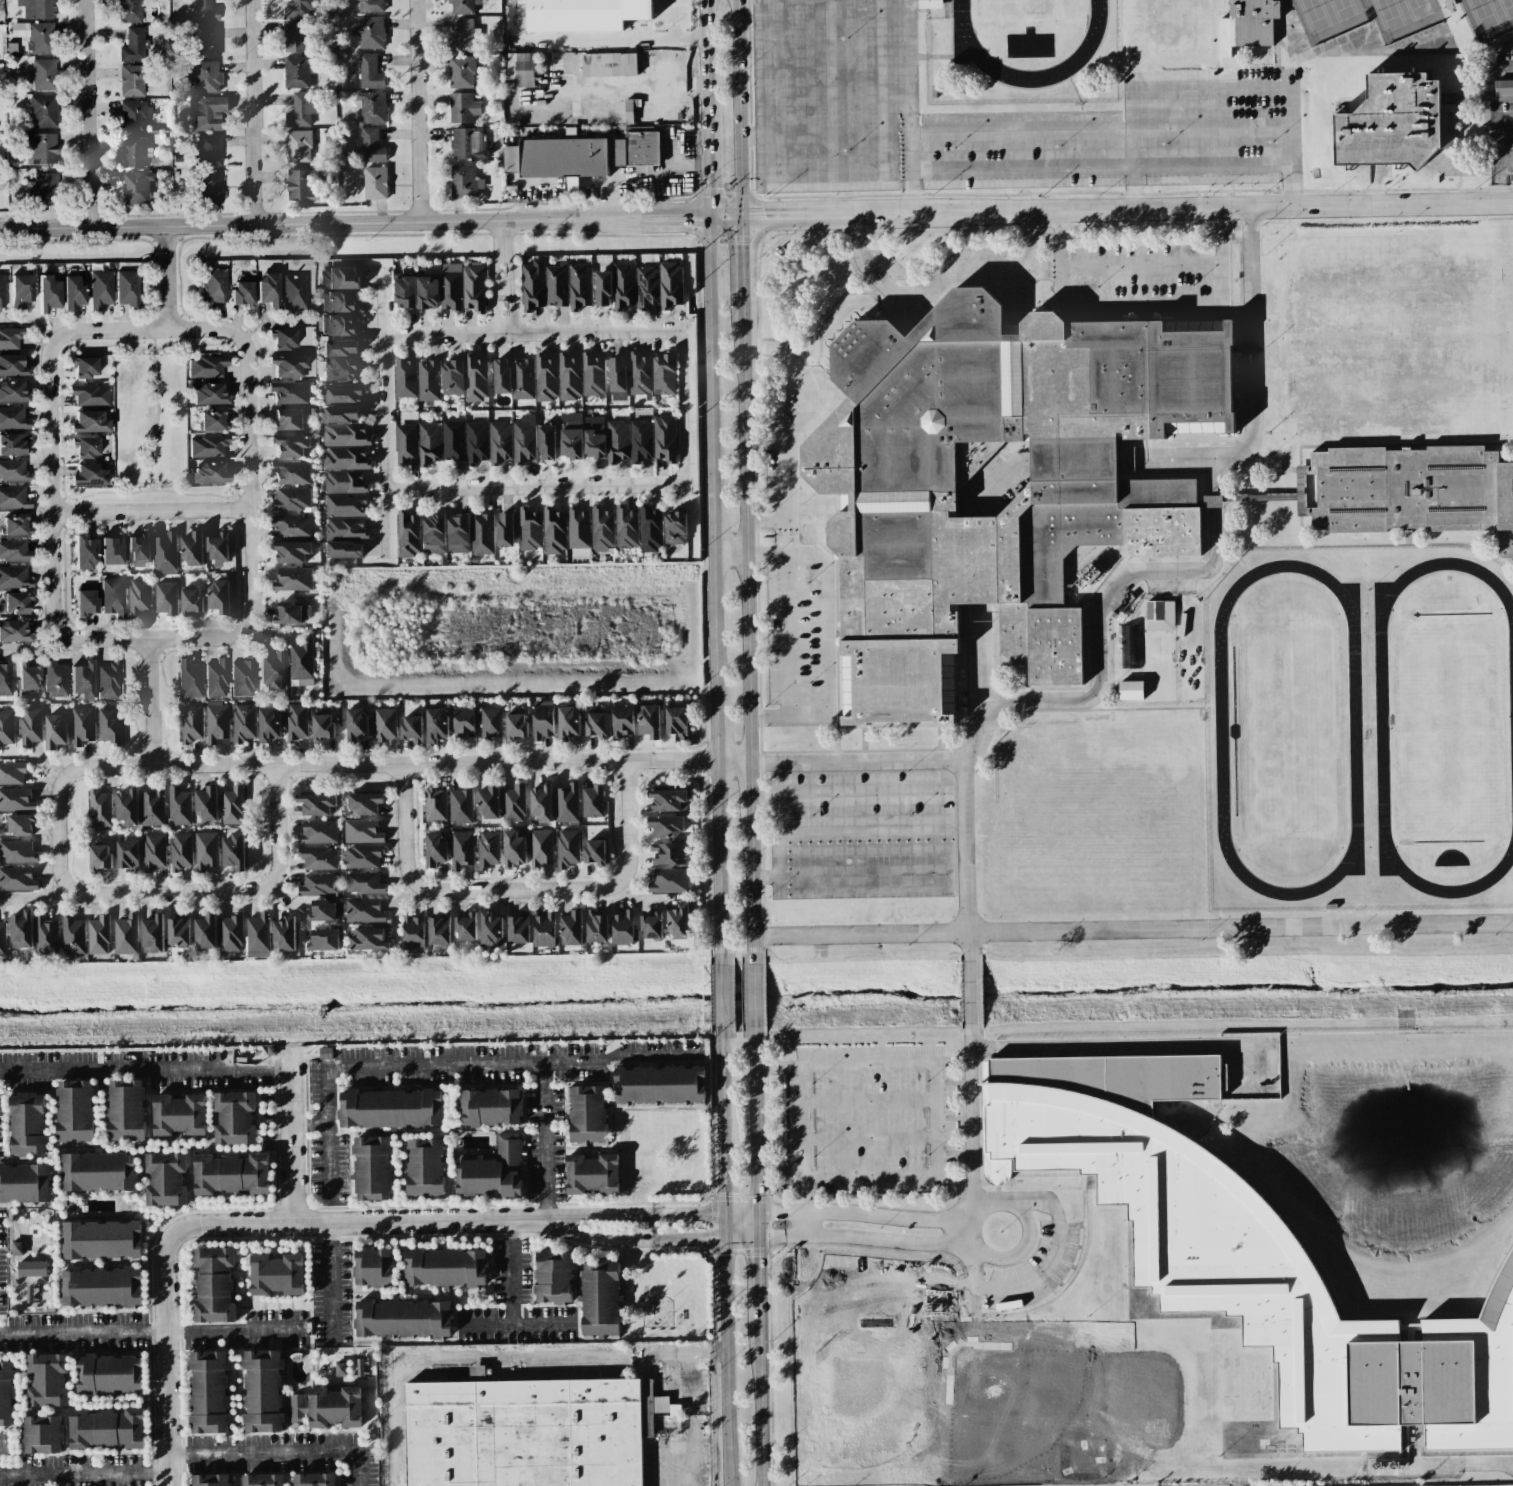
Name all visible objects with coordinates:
building: (929, 4)
building: (370, 6)
building: (463, 6)
park: (1506, 7)
building: (298, 8)
park: (1341, 8)
park: (1417, 8)
building: (38, 9)
building: (130, 11)
building: (205, 11)
park: (1028, 11)
park: (1389, 13)
park: (1482, 13)
building: (584, 14)
park: (1313, 14)
road: (671, 19)
building: (1247, 24)
building: (369, 31)
building: (36, 36)
building: (462, 36)
building: (295, 37)
road: (624, 39)
building: (207, 41)
track: (964, 42)
building: (134, 45)
stadium: (1020, 51)
building: (609, 64)
road: (707, 64)
building: (522, 68)
building: (298, 71)
building: (370, 72)
building: (461, 72)
building: (44, 74)
building: (204, 75)
building: (134, 79)
road: (658, 89)
building: (1503, 90)
building: (372, 107)
building: (462, 107)
road: (733, 107)
building: (301, 110)
building: (42, 111)
road: (420, 111)
building: (206, 112)
road: (256, 112)
road: (89, 113)
building: (134, 115)
building: (1392, 120)
road: (1173, 128)
road: (1056, 130)
road: (878, 132)
road: (750, 135)
road: (1500, 137)
building: (467, 143)
building: (370, 145)
building: (298, 146)
road: (1295, 146)
building: (41, 148)
building: (635, 149)
building: (134, 151)
building: (208, 151)
building: (558, 159)
road: (1508, 161)
road: (944, 171)
road: (709, 172)
building: (464, 182)
building: (374, 183)
road: (1503, 183)
building: (304, 184)
building: (210, 186)
building: (137, 187)
building: (41, 190)
road: (756, 215)
traffic signals: (710, 216)
traffic signals: (734, 216)
road: (1061, 237)
road: (1029, 238)
road: (736, 258)
road: (1027, 265)
road: (168, 277)
building: (339, 278)
road: (497, 278)
road: (511, 278)
building: (533, 285)
building: (557, 285)
building: (670, 285)
building: (215, 286)
building: (624, 286)
building: (451, 287)
building: (580, 287)
building: (647, 287)
building: (127, 288)
building: (603, 288)
building: (21, 289)
building: (101, 289)
building: (269, 289)
building: (2, 291)
building: (73, 292)
building: (405, 292)
building: (48, 293)
building: (242, 293)
building: (294, 293)
building: (427, 293)
building: (339, 301)
building: (339, 325)
road: (158, 330)
road: (533, 334)
road: (1251, 337)
building: (10, 338)
building: (284, 339)
road: (712, 343)
building: (340, 348)
building: (12, 365)
building: (289, 366)
building: (85, 367)
building: (207, 367)
building: (338, 370)
building: (639, 373)
building: (664, 373)
building: (617, 374)
building: (593, 375)
building: (501, 376)
building: (452, 377)
building: (569, 377)
building: (405, 378)
building: (475, 378)
building: (545, 378)
building: (522, 379)
building: (428, 380)
building: (12, 392)
building: (290, 392)
building: (209, 393)
building: (341, 393)
building: (90, 395)
road: (387, 407)
road: (685, 407)
building: (341, 414)
building: (13, 418)
building: (212, 419)
building: (287, 419)
building: (90, 422)
building: (345, 435)
building: (571, 435)
building: (594, 437)
building: (524, 438)
building: (665, 438)
building: (453, 440)
building: (617, 441)
building: (640, 441)
building: (476, 442)
building: (547, 442)
building: (406, 443)
building: (429, 443)
building: (499, 443)
building: (13, 444)
building: (289, 445)
building: (208, 446)
building: (86, 447)
building: (345, 458)
road: (1222, 460)
building: (13, 470)
building: (291, 472)
building: (211, 473)
building: (90, 474)
building: (344, 482)
road: (54, 483)
road: (537, 486)
road: (250, 487)
building: (1418, 492)
road: (782, 493)
building: (13, 498)
building: (291, 499)
building: (346, 505)
building: (1107, 507)
road: (715, 510)
road: (152, 511)
building: (15, 524)
building: (292, 525)
building: (626, 527)
road: (761, 527)
building: (346, 528)
building: (602, 528)
building: (675, 528)
building: (505, 529)
building: (530, 529)
building: (578, 529)
building: (650, 530)
building: (554, 531)
road: (743, 532)
building: (459, 533)
building: (408, 534)
building: (434, 534)
building: (482, 534)
road: (1413, 546)
building: (112, 549)
building: (192, 549)
building: (13, 550)
building: (139, 550)
building: (218, 550)
building: (345, 550)
road: (747, 550)
building: (84, 552)
building: (165, 552)
building: (291, 552)
building: (1090, 573)
building: (14, 577)
building: (293, 580)
road: (1107, 593)
building: (219, 595)
building: (113, 596)
building: (139, 597)
building: (166, 598)
building: (191, 601)
building: (85, 602)
building: (15, 603)
building: (292, 613)
building: (1159, 615)
road: (715, 619)
building: (14, 631)
road: (829, 631)
road: (153, 639)
building: (1129, 646)
building: (301, 662)
building: (271, 671)
building: (216, 678)
building: (243, 678)
building: (6, 679)
building: (56, 679)
building: (189, 679)
building: (29, 680)
building: (83, 680)
building: (108, 680)
building: (1131, 690)
road: (150, 703)
building: (1099, 717)
building: (622, 720)
building: (463, 721)
building: (542, 721)
building: (649, 721)
building: (677, 721)
building: (216, 722)
building: (244, 722)
building: (296, 722)
building: (491, 722)
building: (568, 722)
building: (191, 723)
building: (108, 724)
building: (268, 724)
building: (356, 724)
building: (385, 724)
building: (596, 724)
building: (82, 725)
building: (436, 725)
road: (716, 725)
building: (30, 726)
building: (6, 727)
building: (322, 727)
building: (516, 727)
track: (1381, 727)
park: (1448, 727)
building: (412, 728)
park: (1290, 728)
track: (1220, 730)
building: (55, 731)
road: (931, 763)
road: (405, 764)
building: (12, 773)
road: (748, 787)
building: (16, 799)
building: (669, 800)
building: (592, 801)
building: (488, 802)
building: (206, 803)
building: (364, 803)
building: (513, 803)
building: (541, 803)
building: (567, 803)
building: (316, 804)
building: (435, 805)
building: (460, 805)
building: (179, 806)
building: (232, 806)
building: (127, 807)
building: (152, 807)
building: (100, 808)
road: (784, 822)
building: (21, 824)
road: (402, 824)
road: (628, 824)
building: (667, 826)
road: (275, 829)
road: (61, 831)
building: (362, 831)
building: (318, 832)
building: (541, 847)
building: (435, 848)
building: (567, 848)
road: (964, 848)
building: (206, 849)
building: (461, 849)
building: (487, 849)
building: (514, 849)
building: (17, 851)
building: (180, 851)
building: (234, 851)
building: (594, 851)
building: (153, 852)
building: (669, 853)
building: (127, 854)
building: (363, 856)
building: (100, 857)
building: (318, 858)
road: (719, 861)
building: (17, 879)
building: (669, 880)
road: (859, 880)
building: (364, 883)
building: (318, 885)
road: (753, 886)
road: (513, 889)
road: (165, 893)
road: (642, 899)
building: (322, 911)
building: (362, 911)
building: (678, 922)
building: (652, 925)
building: (466, 927)
building: (597, 927)
building: (518, 928)
building: (571, 928)
building: (622, 928)
building: (21, 929)
building: (439, 929)
building: (491, 929)
building: (544, 929)
road: (1132, 930)
building: (205, 931)
building: (413, 931)
building: (178, 932)
building: (231, 933)
building: (258, 933)
building: (284, 934)
building: (98, 935)
building: (126, 935)
building: (152, 935)
building: (46, 936)
building: (73, 937)
building: (2, 939)
building: (323, 939)
building: (368, 939)
road: (967, 948)
road: (968, 993)
road: (720, 995)
road: (752, 996)
road: (440, 1056)
road: (228, 1058)
road: (914, 1064)
road: (720, 1082)
building: (659, 1085)
road: (871, 1100)
building: (490, 1107)
building: (390, 1108)
building: (75, 1110)
building: (126, 1110)
building: (587, 1114)
building: (179, 1115)
road: (970, 1116)
building: (235, 1118)
building: (28, 1124)
road: (312, 1124)
road: (753, 1134)
road: (546, 1135)
road: (870, 1135)
building: (372, 1167)
building: (425, 1167)
building: (493, 1171)
building: (98, 1172)
road: (721, 1172)
building: (231, 1174)
building: (592, 1174)
building: (166, 1179)
building: (25, 1183)
road: (1008, 1199)
traffic signals: (722, 1211)
road: (737, 1211)
traffic signals: (752, 1211)
road: (632, 1213)
road: (861, 1214)
road: (362, 1221)
road: (804, 1224)
road: (722, 1225)
road: (737, 1238)
traffic signals: (753, 1238)
traffic signals: (722, 1239)
building: (101, 1240)
road: (629, 1240)
road: (870, 1240)
building: (17, 1248)
building: (1252, 1260)
road: (1045, 1264)
road: (966, 1266)
building: (373, 1267)
building: (446, 1267)
building: (32, 1268)
road: (512, 1270)
road: (754, 1271)
building: (276, 1275)
building: (555, 1277)
road: (336, 1282)
building: (214, 1284)
building: (101, 1287)
building: (600, 1298)
building: (403, 1318)
road: (520, 1324)
road: (146, 1334)
road: (164, 1355)
road: (498, 1357)
road: (724, 1362)
building: (340, 1369)
building: (108, 1374)
building: (48, 1380)
building: (263, 1391)
building: (209, 1392)
building: (6, 1393)
road: (758, 1395)
building: (327, 1407)
road: (695, 1418)
building: (107, 1428)
building: (529, 1432)
building: (43, 1434)
road: (3, 1447)
road: (188, 1452)
building: (314, 1479)
building: (210, 1480)
building: (262, 1480)

